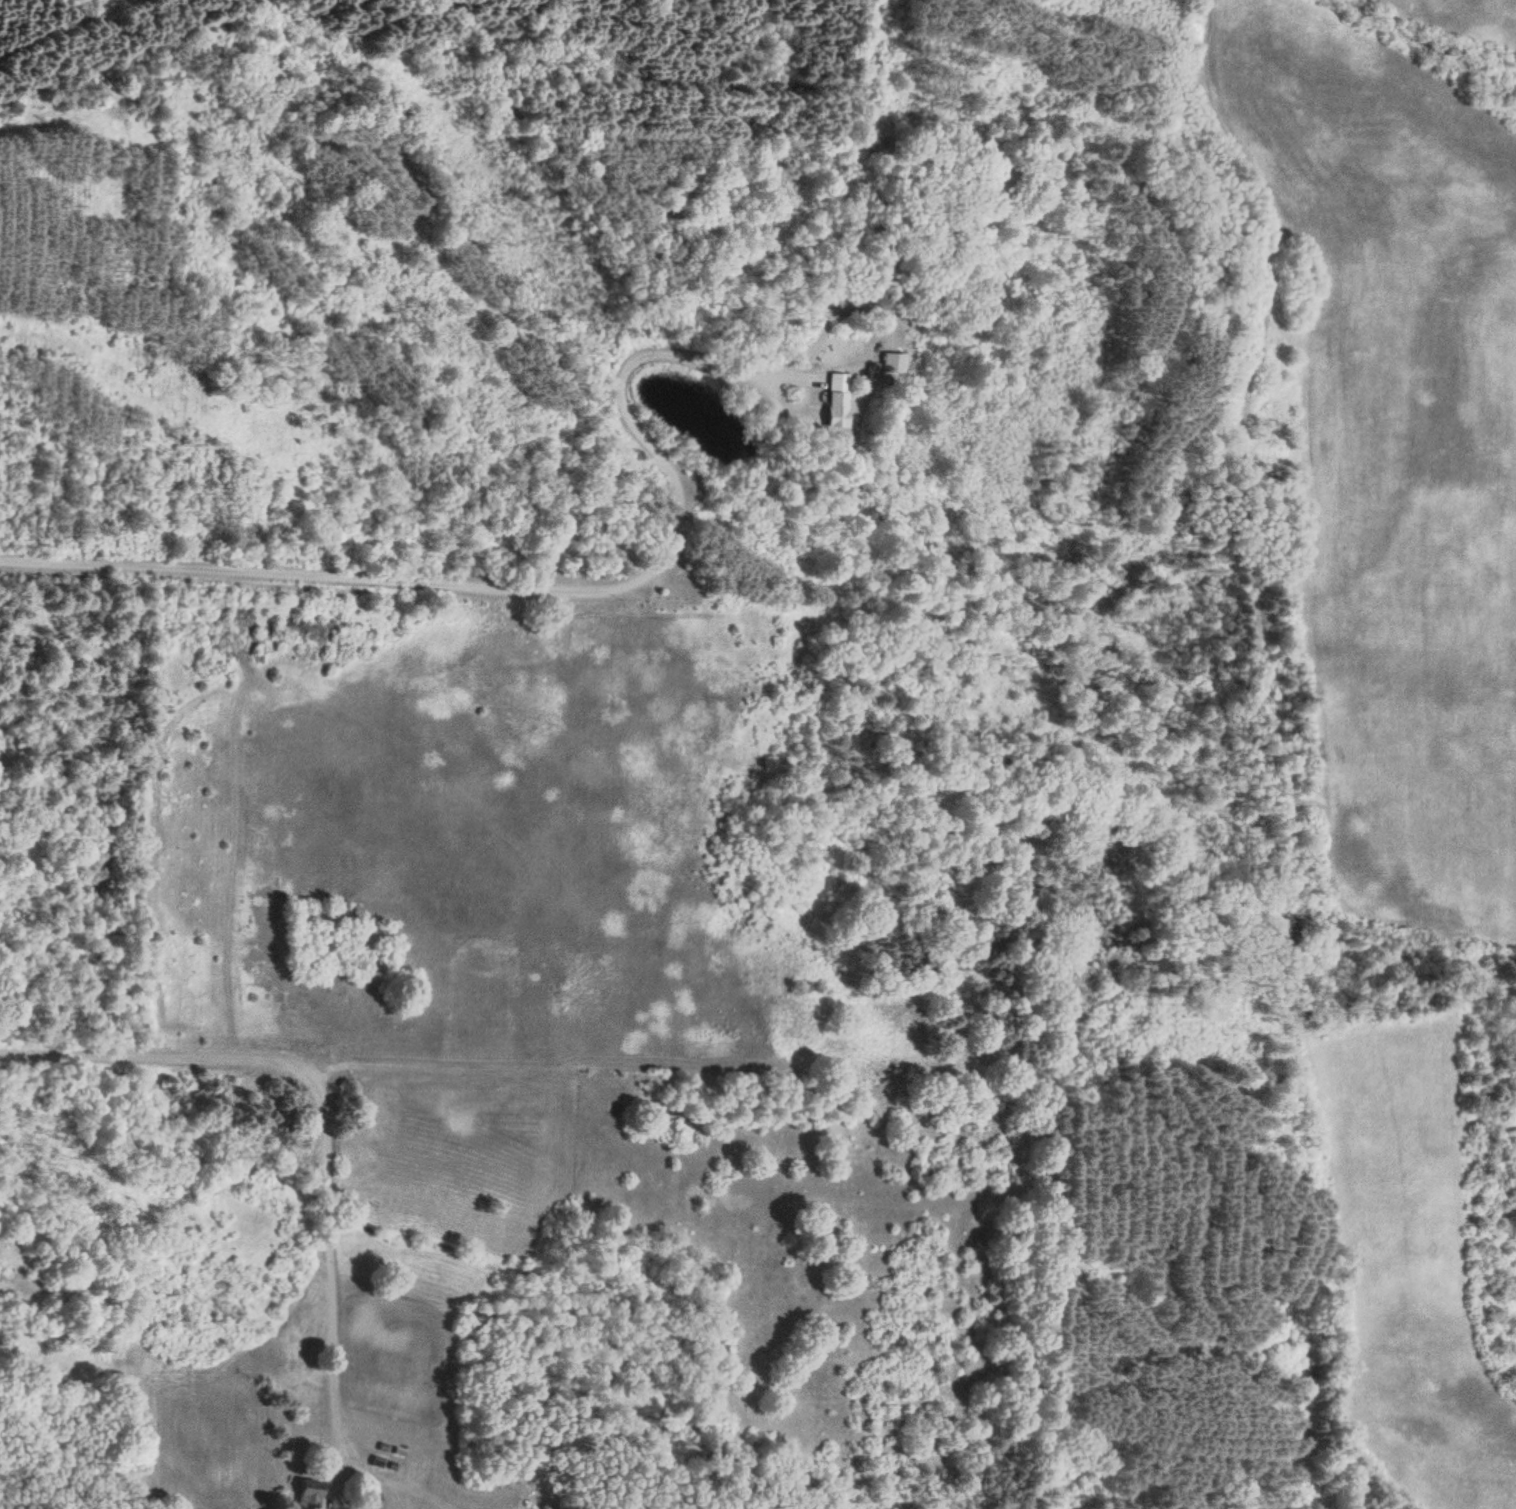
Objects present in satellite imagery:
building: (833, 401)
road: (317, 1102)
building: (398, 1459)

